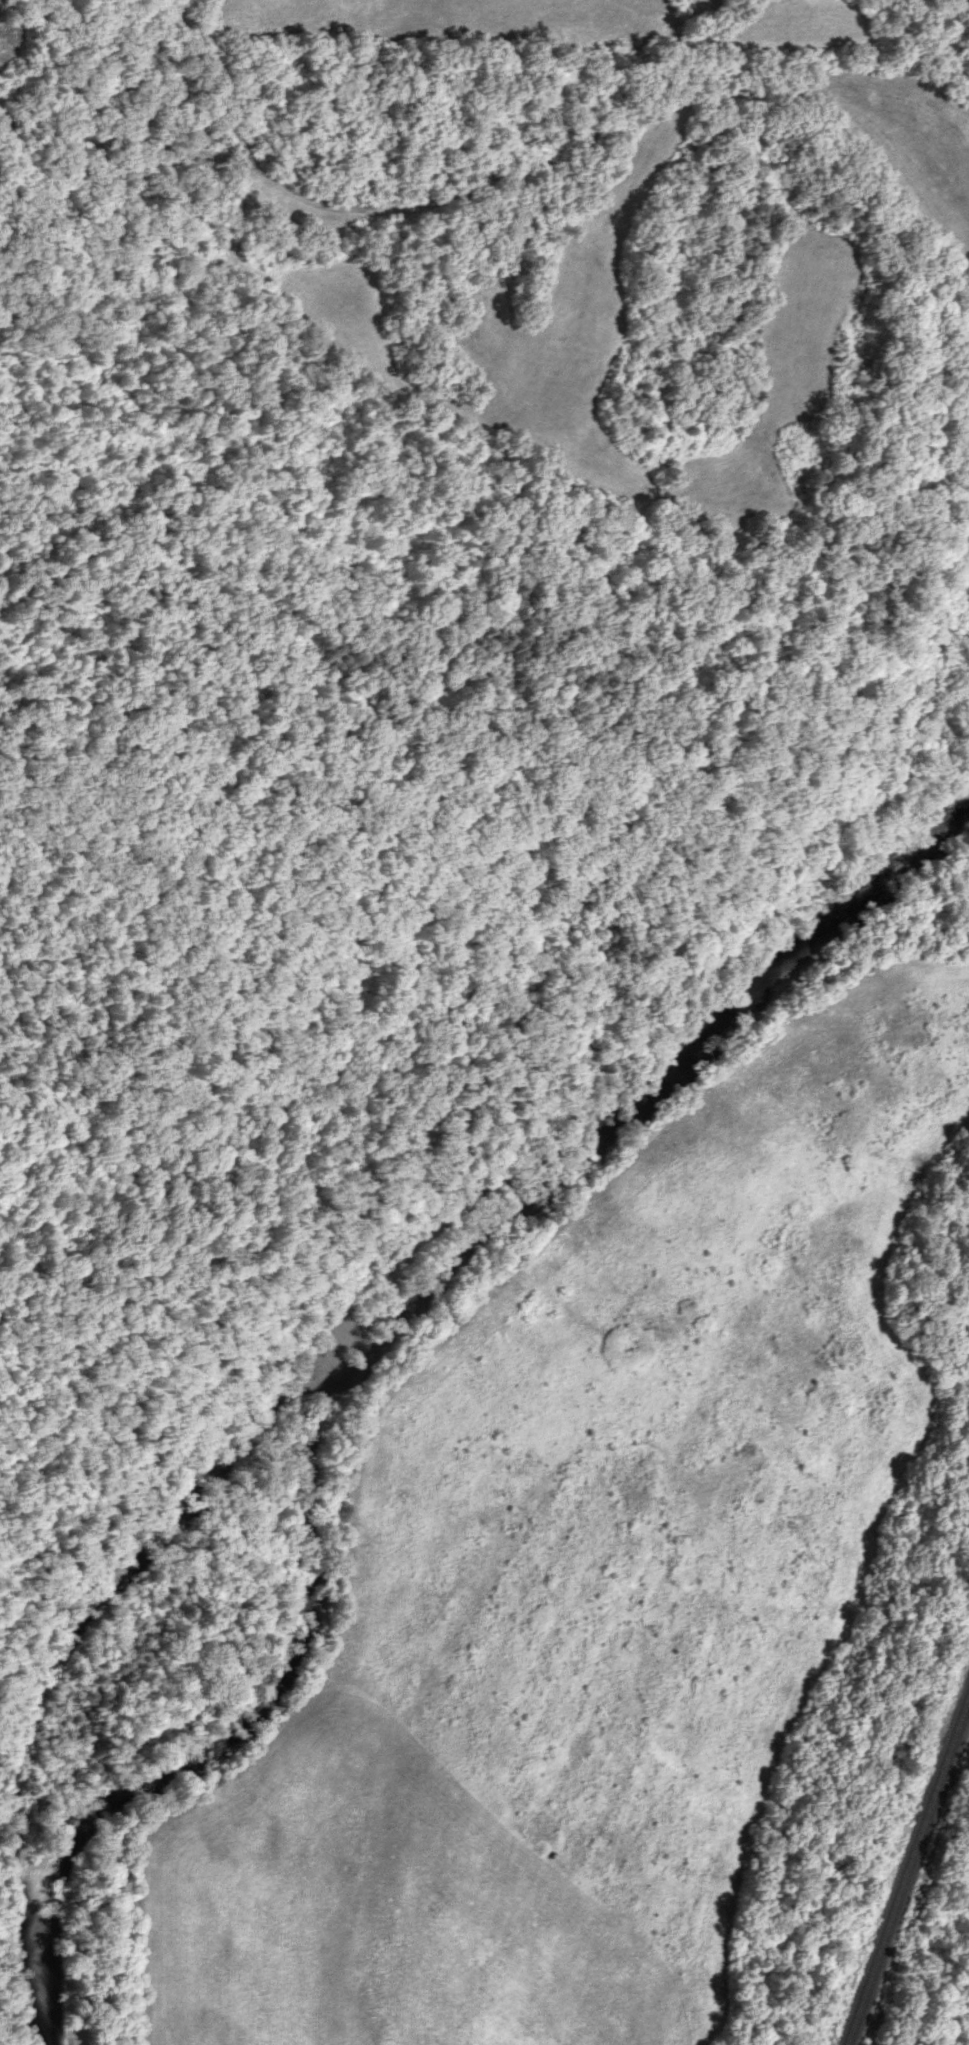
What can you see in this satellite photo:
railway: (906, 1869)

